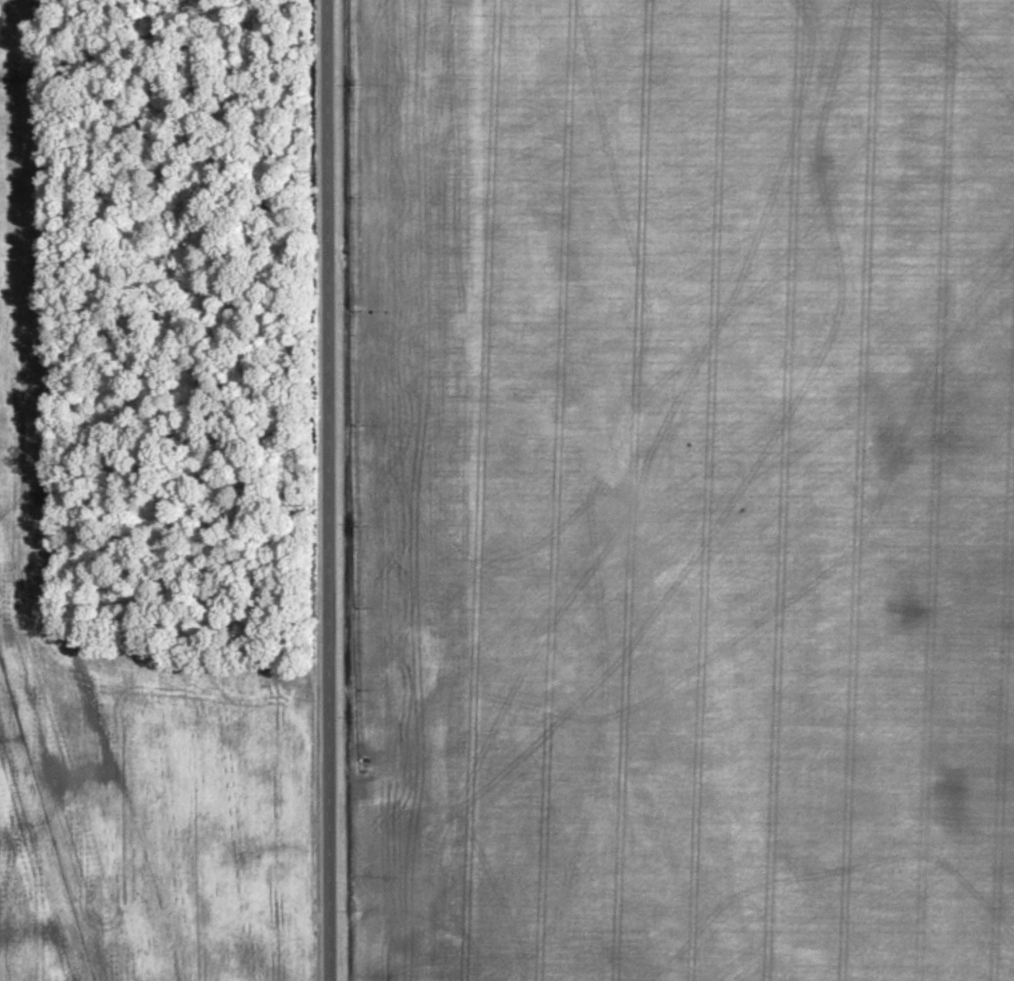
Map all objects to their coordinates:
road: (332, 490)

